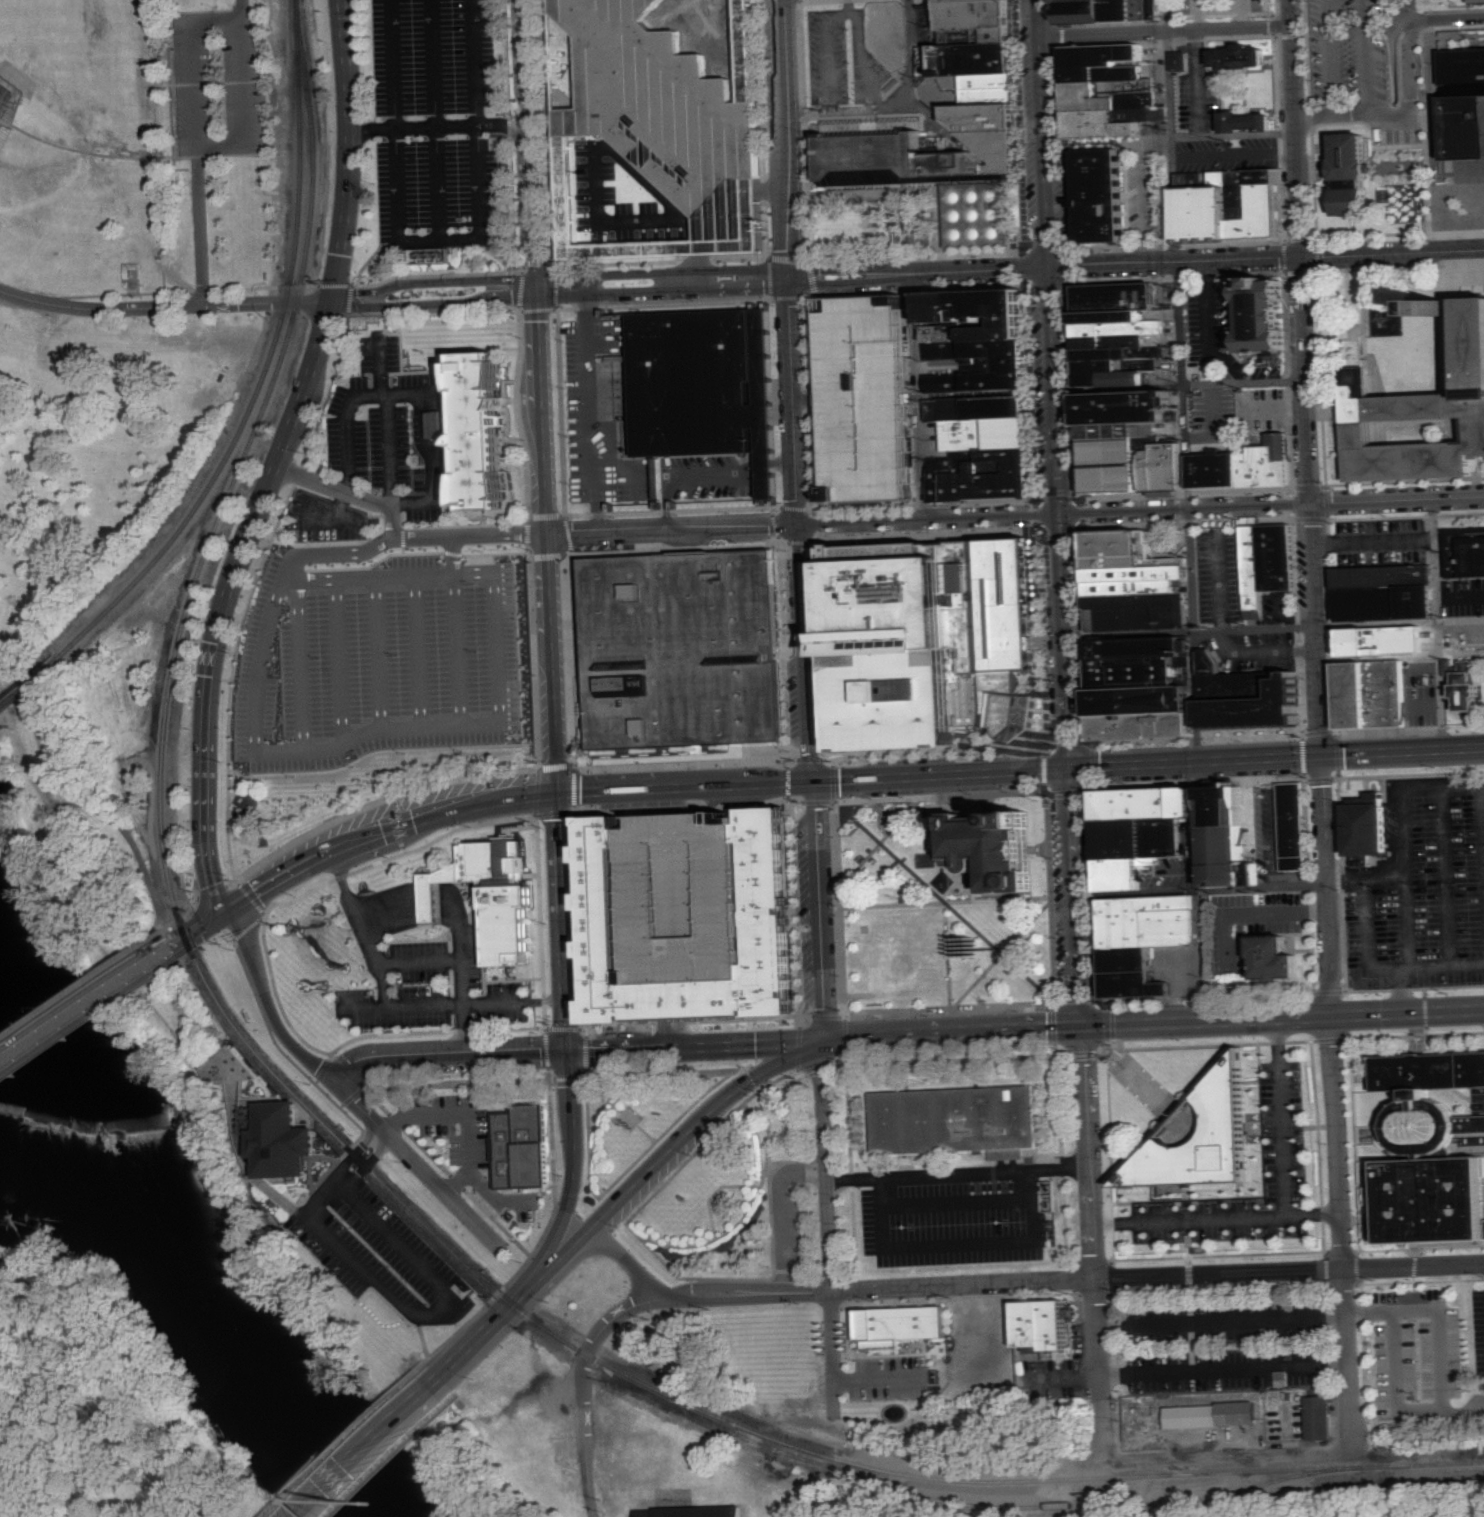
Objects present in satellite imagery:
building: (1478, 1)
road: (1219, 7)
road: (1411, 8)
road: (202, 9)
road: (244, 10)
building: (1111, 11)
road: (1197, 14)
road: (1242, 14)
road: (1167, 15)
road: (1433, 18)
road: (1228, 28)
road: (1105, 32)
building: (886, 35)
building: (746, 51)
road: (911, 53)
road: (1365, 55)
building: (1241, 56)
road: (1328, 56)
road: (1393, 56)
building: (555, 60)
building: (1179, 61)
road: (195, 63)
road: (527, 65)
road: (345, 68)
parking lot: (1365, 70)
road: (204, 81)
parking lot: (220, 82)
road: (1198, 82)
building: (13, 87)
building: (1112, 89)
building: (1462, 102)
road: (247, 109)
road: (847, 109)
building: (946, 111)
building: (667, 119)
road: (433, 120)
road: (1400, 120)
building: (1246, 121)
road: (439, 125)
parking lot: (432, 126)
road: (1232, 135)
road: (784, 139)
road: (158, 153)
road: (1234, 153)
road: (130, 156)
building: (1352, 173)
building: (565, 189)
road: (1145, 189)
building: (1096, 195)
building: (1227, 204)
road: (533, 209)
road: (344, 218)
road: (200, 230)
road: (441, 240)
building: (434, 255)
road: (1268, 258)
traffic signals: (1052, 266)
road: (920, 272)
road: (662, 283)
traffic signals: (537, 288)
railway: (287, 290)
road: (435, 294)
traffic signals: (333, 300)
road: (165, 306)
building: (1258, 319)
building: (1114, 333)
building: (972, 341)
road: (379, 362)
road: (1056, 372)
road: (1304, 378)
building: (712, 382)
road: (1180, 384)
road: (398, 393)
building: (864, 394)
parking garage: (864, 394)
road: (915, 397)
road: (793, 402)
road: (590, 411)
building: (1418, 419)
parking lot: (382, 423)
park: (139, 427)
building: (476, 430)
building: (1115, 436)
road: (346, 443)
building: (977, 449)
road: (389, 450)
road: (431, 466)
building: (1245, 466)
building: (1160, 468)
road: (707, 475)
parking lot: (707, 476)
road: (332, 487)
road: (1396, 500)
road: (1053, 515)
traffic signals: (1062, 515)
road: (391, 523)
road: (1189, 525)
road: (672, 531)
road: (468, 535)
road: (547, 541)
road: (454, 554)
building: (1463, 554)
building: (1275, 557)
building: (1131, 583)
road: (228, 588)
building: (1381, 592)
railway: (90, 622)
road: (1399, 622)
road: (1439, 624)
road: (1190, 631)
parking lot: (1464, 633)
building: (932, 641)
road: (458, 647)
building: (675, 647)
road: (418, 649)
road: (379, 651)
parking lot: (375, 653)
road: (804, 653)
road: (340, 660)
road: (300, 665)
building: (1374, 676)
building: (1462, 682)
road: (830, 684)
building: (1139, 689)
building: (1246, 697)
railway: (8, 700)
road: (405, 725)
road: (21, 755)
traffic signals: (1322, 756)
road: (627, 765)
traffic signals: (1070, 768)
road: (1020, 770)
traffic signals: (812, 782)
traffic signals: (558, 794)
road: (1483, 807)
fountain: (895, 820)
building: (1292, 825)
building: (1365, 827)
road: (1401, 829)
road: (383, 833)
building: (1146, 835)
building: (1225, 837)
road: (128, 840)
building: (988, 847)
road: (1447, 872)
road: (1075, 885)
road: (1327, 886)
road: (1201, 890)
parking lot: (1420, 890)
building: (487, 893)
road: (217, 901)
park: (944, 902)
road: (415, 903)
traffic signals: (222, 911)
building: (686, 913)
road: (1244, 914)
road: (178, 918)
road: (1405, 922)
road: (188, 935)
building: (1143, 937)
building: (970, 947)
building: (1270, 956)
road: (419, 963)
road: (1384, 964)
parking lot: (431, 989)
road: (1402, 989)
road: (462, 991)
road: (71, 992)
road: (137, 992)
road: (266, 1002)
road: (394, 1007)
road: (366, 1008)
road: (76, 1013)
road: (1150, 1023)
traffic signals: (1083, 1026)
road: (567, 1033)
road: (818, 1037)
traffic signals: (818, 1040)
road: (693, 1046)
traffic signals: (568, 1053)
road: (449, 1057)
road: (470, 1109)
road: (1283, 1117)
parking lot: (1282, 1119)
building: (954, 1120)
building: (1203, 1137)
building: (278, 1138)
building: (520, 1144)
road: (675, 1144)
parking lot: (467, 1148)
railway: (349, 1149)
building: (1428, 1151)
park: (692, 1160)
road: (416, 1163)
road: (346, 1172)
road: (957, 1173)
road: (495, 1199)
road: (959, 1203)
road: (780, 1213)
road: (1216, 1218)
parking lot: (957, 1221)
road: (1342, 1235)
road: (960, 1242)
road: (1093, 1243)
parking lot: (378, 1248)
road: (626, 1260)
road: (1157, 1276)
river: (195, 1280)
road: (743, 1295)
road: (444, 1308)
road: (1221, 1319)
road: (493, 1321)
building: (893, 1322)
building: (1040, 1323)
road: (1439, 1332)
parking lot: (1226, 1345)
road: (834, 1354)
road: (1224, 1370)
road: (882, 1379)
road: (1062, 1381)
road: (1397, 1383)
road: (582, 1391)
building: (1209, 1414)
building: (1317, 1417)
road: (369, 1446)
road: (1228, 1457)
railway: (1109, 1503)
building: (690, 1511)

